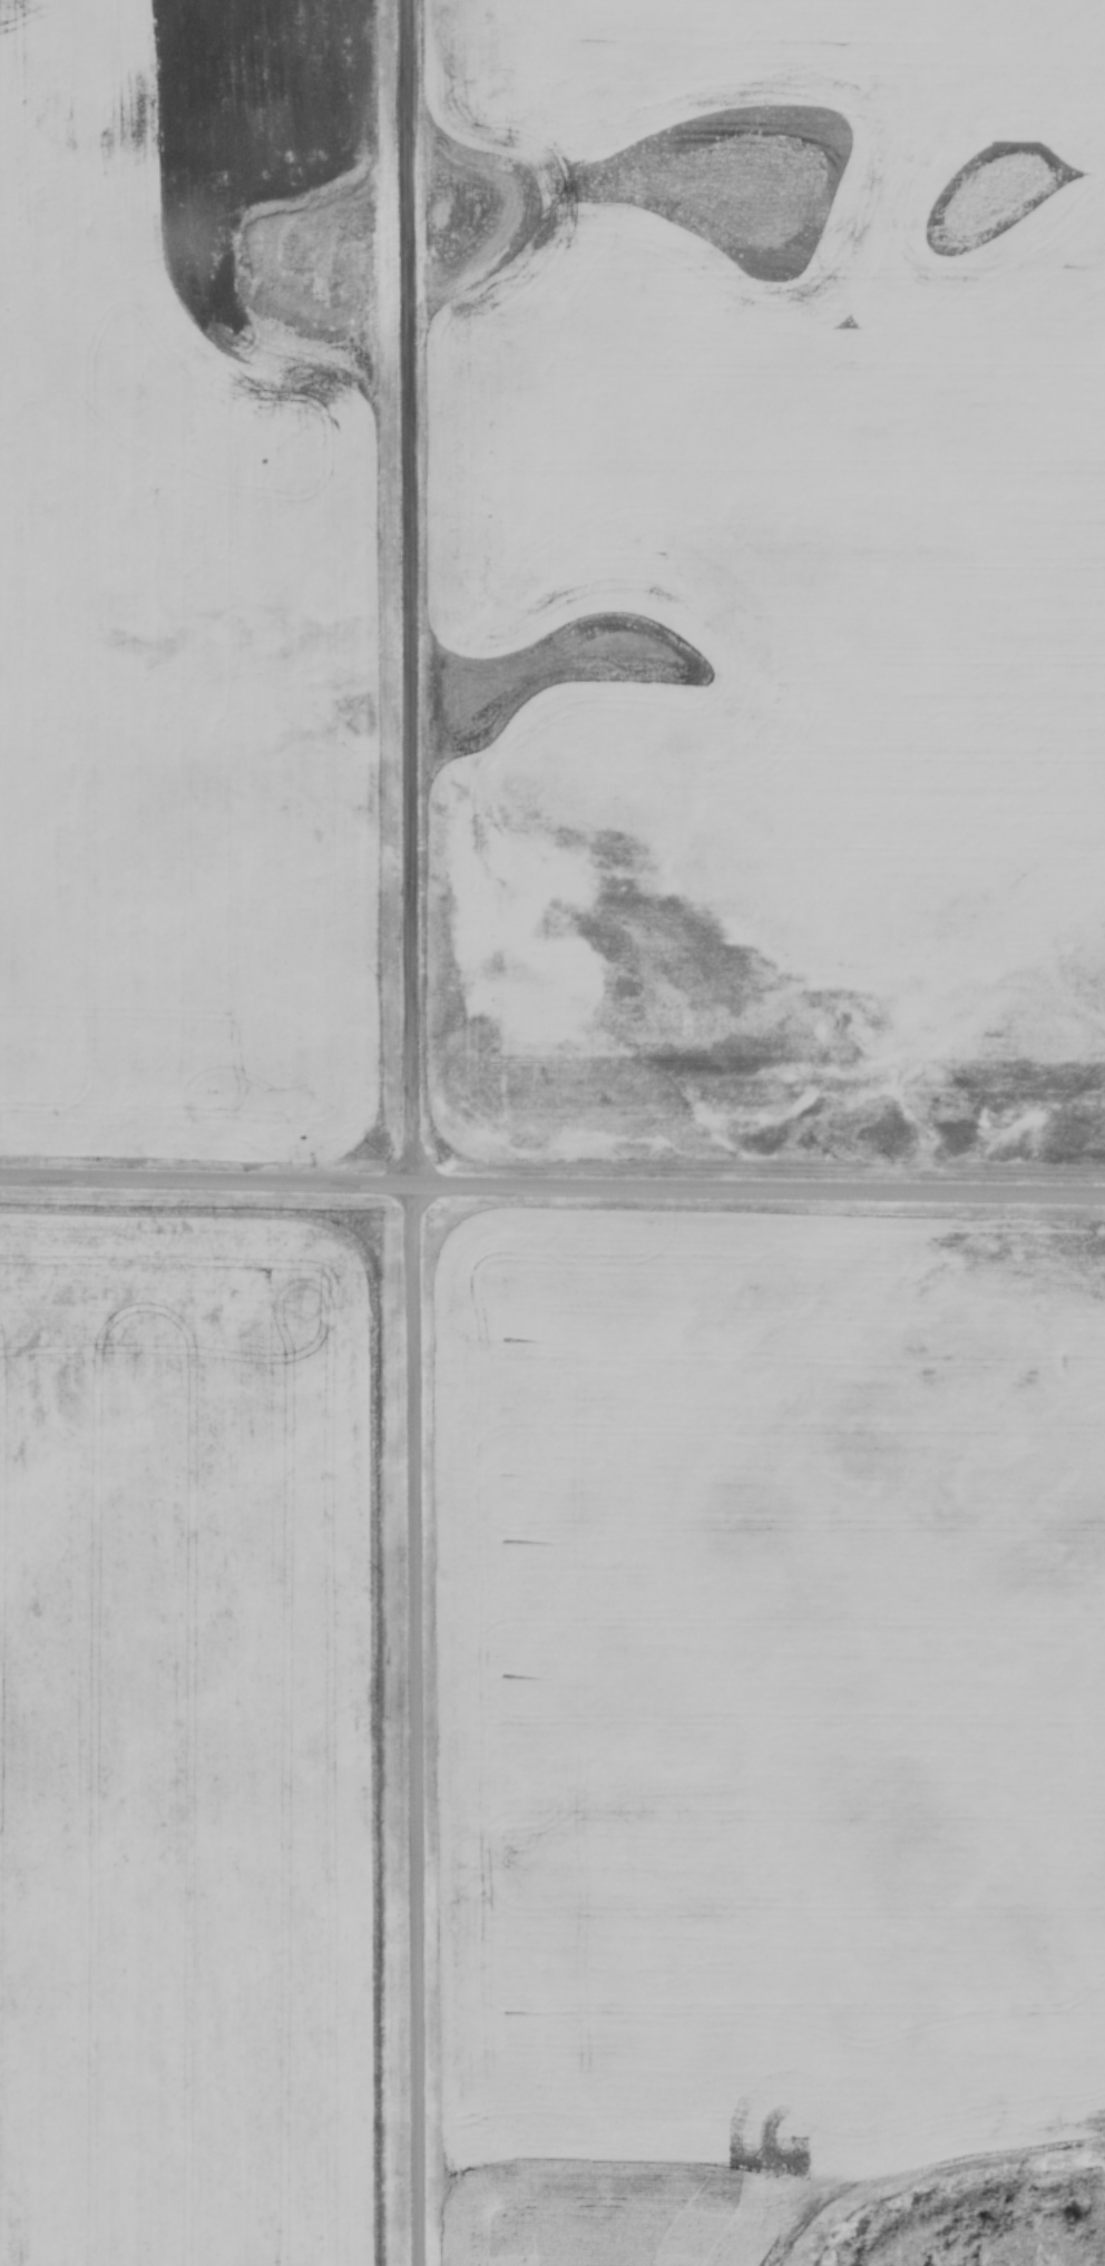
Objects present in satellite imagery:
road: (411, 1133)
road: (551, 1185)

